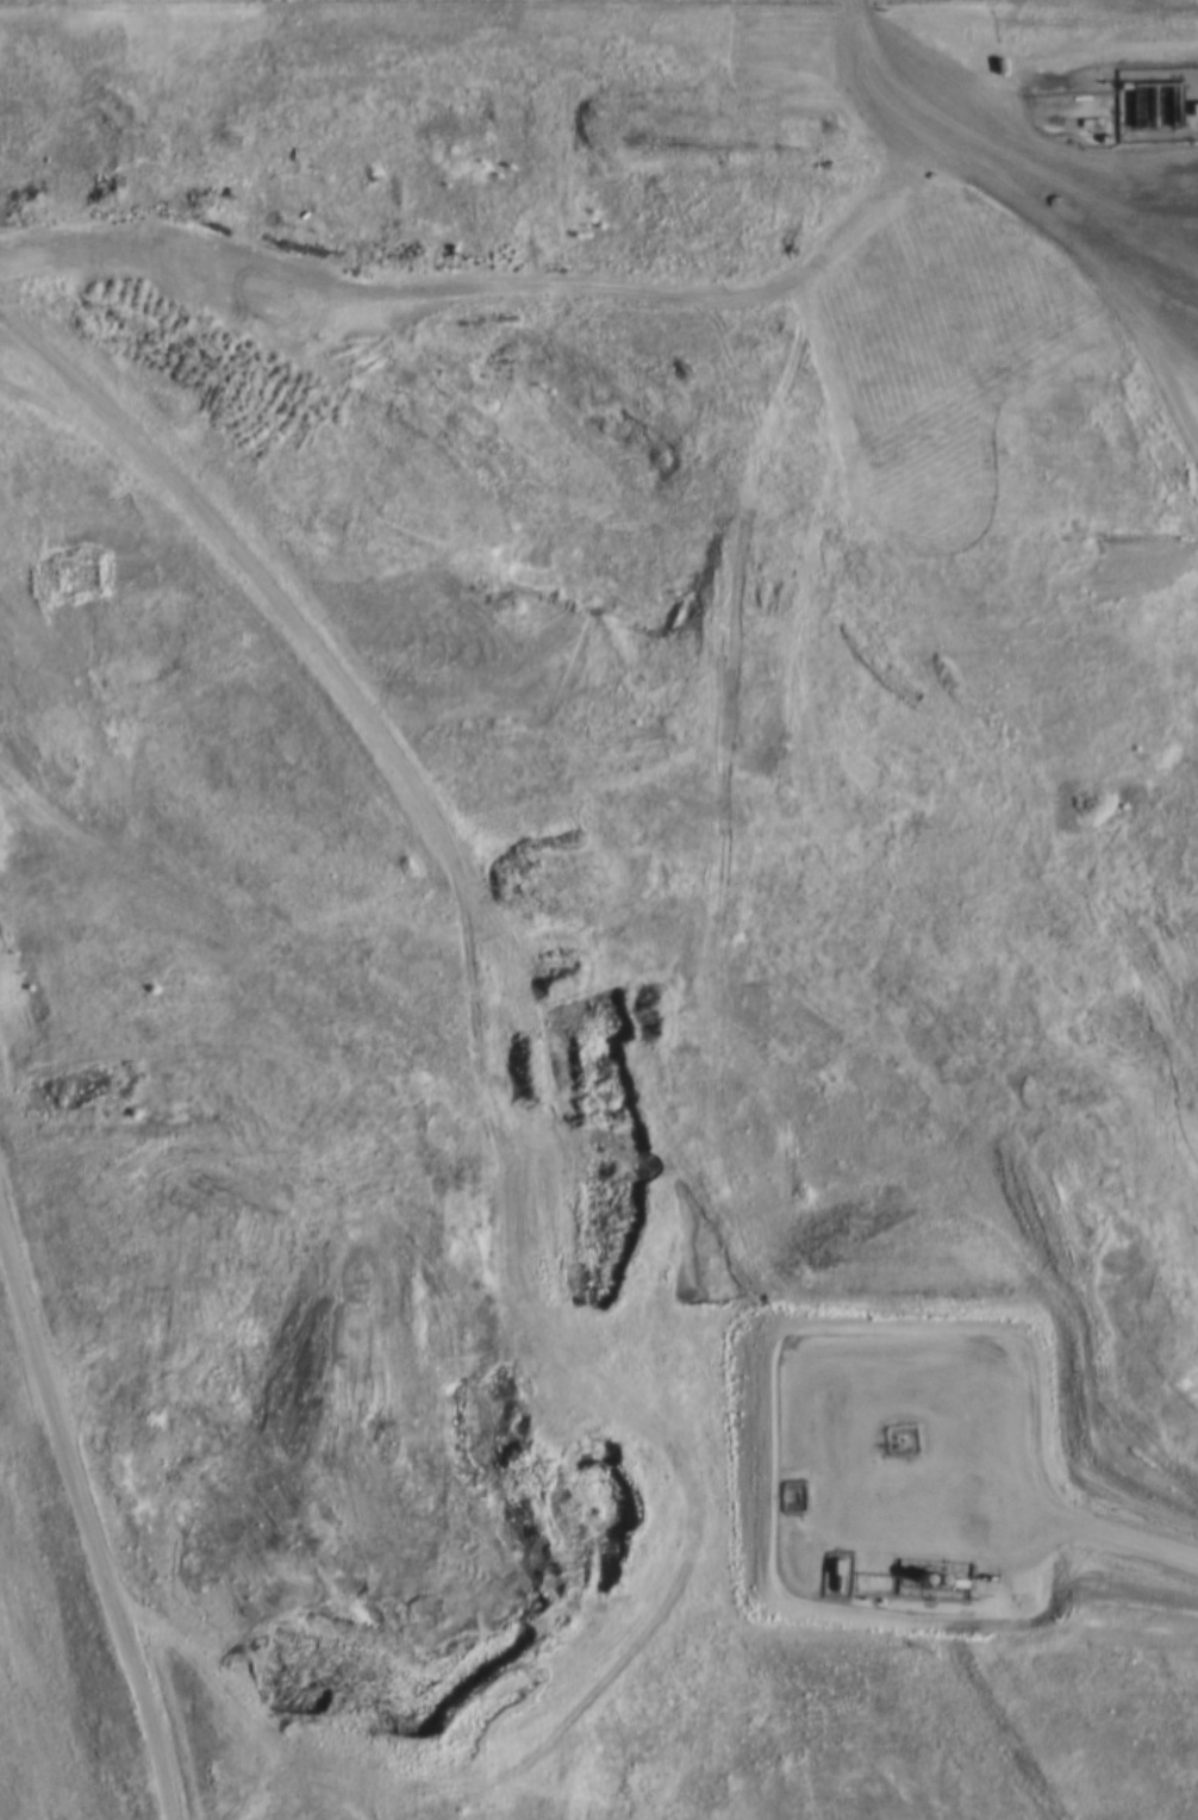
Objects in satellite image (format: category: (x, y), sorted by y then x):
road: (954, 57)
quarry: (238, 363)
quarry: (100, 1597)
road: (23, 1800)

